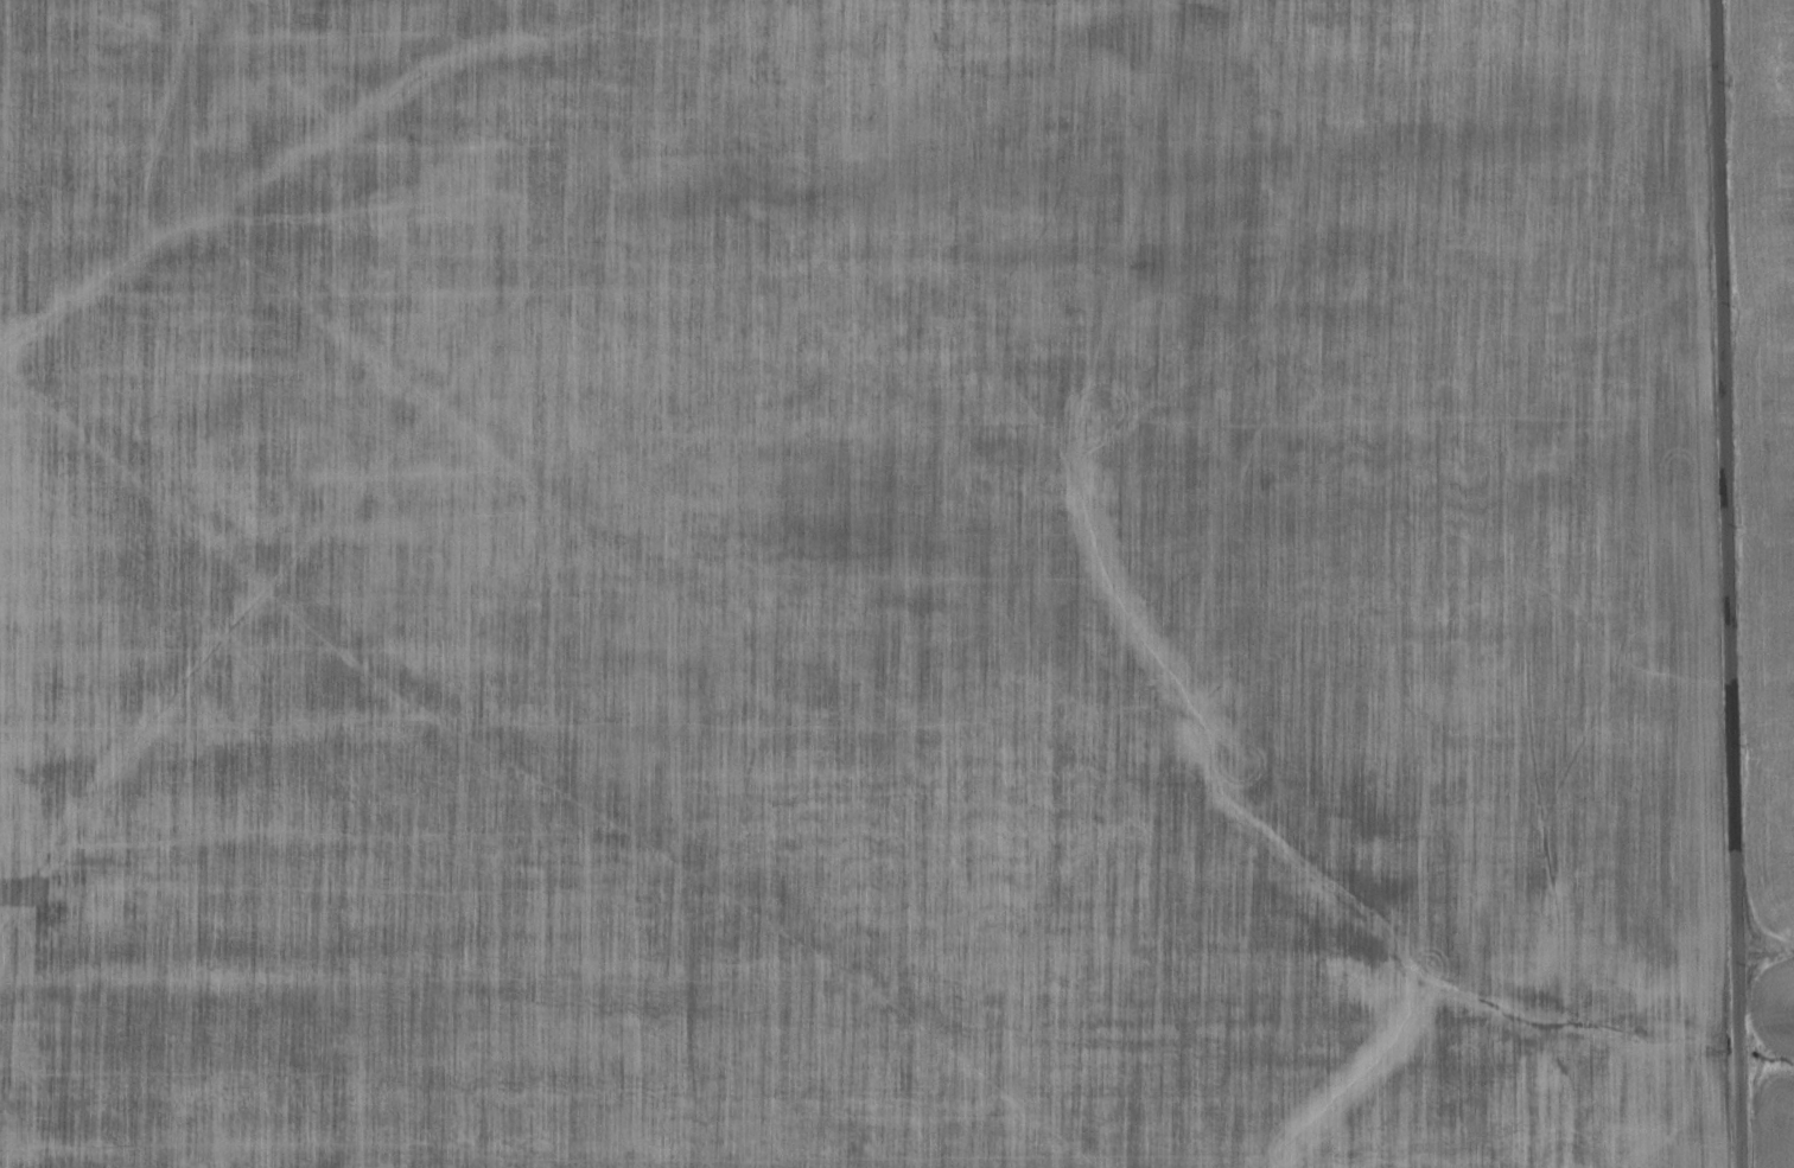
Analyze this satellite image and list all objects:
road: (1726, 583)

